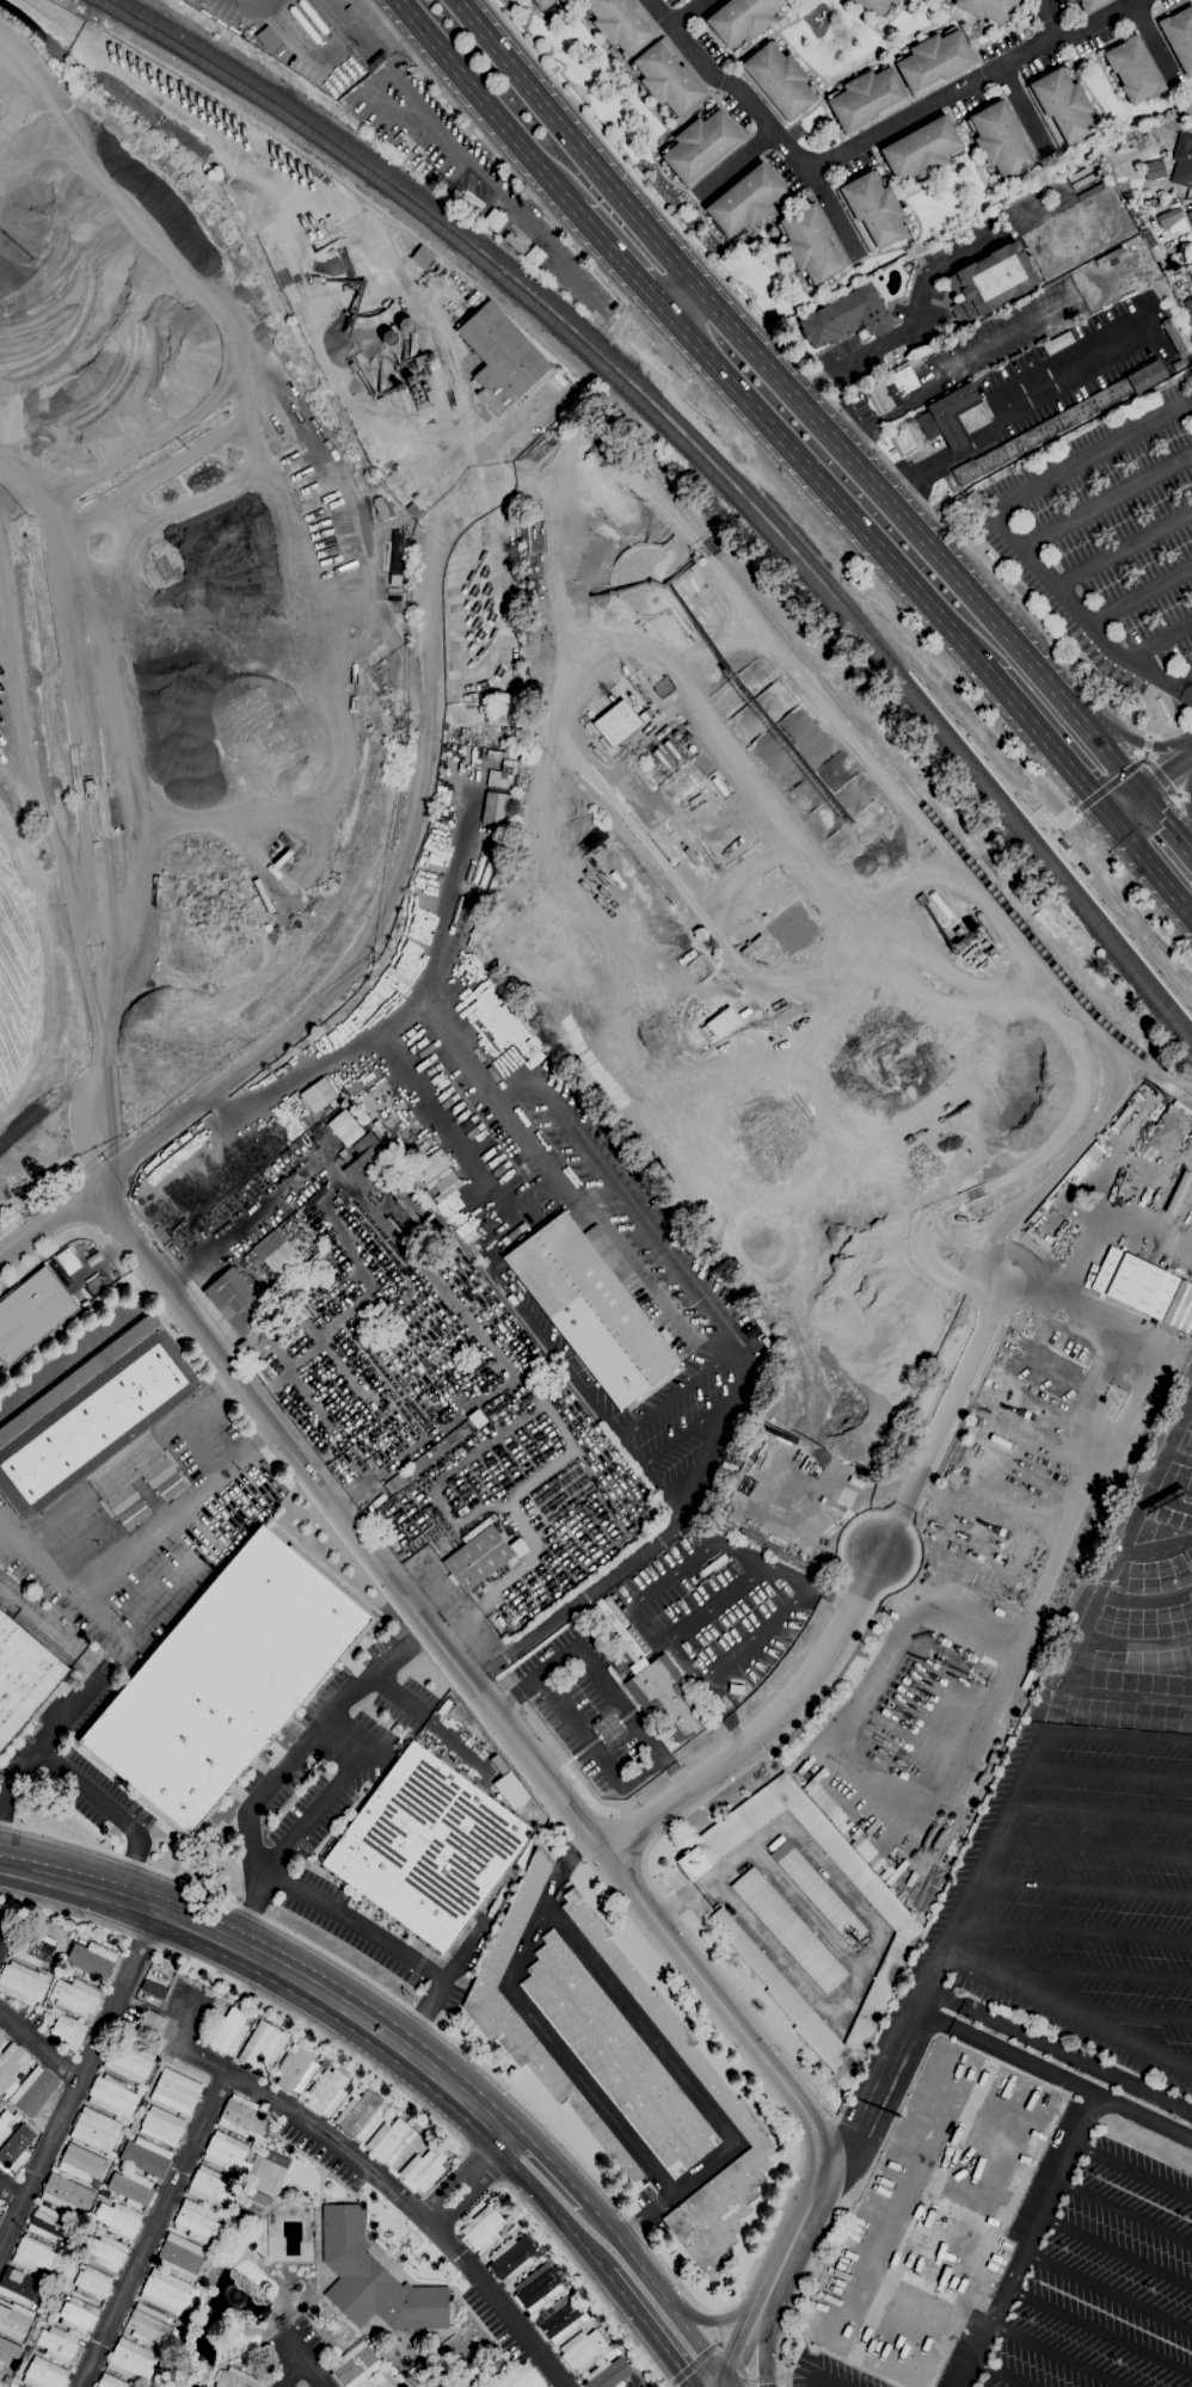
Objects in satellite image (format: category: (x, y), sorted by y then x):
building: (561, 0)
building: (895, 0)
building: (545, 4)
building: (1092, 5)
building: (875, 6)
building: (987, 10)
building: (352, 12)
road: (683, 12)
road: (1051, 17)
building: (743, 19)
building: (619, 24)
building: (1180, 36)
building: (269, 38)
road: (1156, 42)
road: (407, 49)
building: (934, 61)
building: (1135, 69)
building: (668, 80)
building: (779, 81)
building: (867, 99)
road: (489, 104)
building: (1062, 106)
road: (1027, 111)
road: (870, 137)
building: (184, 139)
building: (999, 140)
road: (454, 144)
building: (700, 144)
road: (425, 149)
building: (922, 149)
road: (494, 152)
building: (1126, 156)
road: (738, 164)
building: (1154, 170)
building: (1182, 173)
building: (1136, 191)
building: (745, 201)
road: (536, 202)
building: (465, 203)
road: (686, 207)
building: (872, 210)
road: (834, 211)
building: (1190, 216)
building: (1172, 220)
building: (1150, 239)
building: (516, 242)
building: (811, 242)
building: (533, 254)
building: (422, 256)
road: (552, 257)
road: (621, 259)
building: (1190, 266)
railway: (583, 271)
railway: (497, 276)
road: (926, 278)
building: (990, 281)
road: (680, 296)
building: (1188, 304)
building: (846, 318)
building: (1173, 337)
building: (1058, 343)
building: (420, 359)
building: (503, 359)
building: (1178, 364)
road: (948, 365)
building: (410, 375)
building: (559, 379)
building: (895, 387)
road: (827, 393)
road: (797, 398)
road: (1008, 408)
building: (948, 416)
building: (909, 418)
building: (1062, 420)
road: (1088, 454)
railway: (709, 456)
building: (644, 472)
road: (485, 479)
road: (827, 488)
road: (1106, 499)
building: (382, 507)
building: (413, 510)
road: (1124, 547)
parking lot: (1107, 550)
building: (695, 558)
railway: (743, 585)
road: (1142, 593)
road: (1086, 616)
road: (1160, 639)
road: (455, 650)
road: (788, 664)
railway: (907, 672)
road: (1186, 685)
building: (508, 696)
railway: (553, 700)
building: (646, 713)
building: (616, 726)
road: (711, 728)
road: (1047, 742)
road: (1142, 744)
road: (1145, 745)
road: (1165, 774)
road: (1165, 782)
road: (1108, 786)
building: (90, 788)
traffic signals: (1141, 793)
road: (1187, 798)
road: (1065, 804)
road: (1125, 804)
building: (493, 807)
road: (1038, 810)
traffic signals: (1111, 814)
road: (1166, 824)
railway: (1018, 831)
road: (1052, 835)
road: (1046, 838)
road: (1151, 863)
road: (444, 900)
building: (751, 945)
road: (346, 978)
building: (723, 1022)
building: (319, 1095)
building: (346, 1127)
road: (1088, 1131)
building: (425, 1159)
building: (367, 1162)
road: (1028, 1164)
building: (440, 1181)
building: (399, 1189)
building: (453, 1194)
building: (1176, 1194)
road: (322, 1207)
road: (956, 1231)
building: (159, 1234)
building: (508, 1237)
road: (1082, 1245)
building: (278, 1253)
building: (315, 1257)
road: (637, 1269)
building: (1135, 1282)
building: (236, 1300)
road: (1065, 1304)
building: (592, 1306)
building: (1180, 1308)
building: (301, 1312)
building: (31, 1314)
building: (763, 1340)
building: (253, 1347)
road: (583, 1389)
road: (672, 1395)
road: (942, 1417)
building: (100, 1427)
road: (689, 1429)
road: (210, 1438)
building: (429, 1457)
road: (898, 1518)
road: (842, 1540)
building: (516, 1546)
road: (119, 1555)
building: (478, 1558)
road: (659, 1583)
road: (10, 1595)
road: (838, 1597)
road: (719, 1602)
road: (49, 1628)
road: (966, 1630)
road: (757, 1634)
road: (600, 1677)
building: (23, 1678)
building: (225, 1679)
road: (80, 1692)
road: (394, 1693)
building: (665, 1697)
road: (767, 1725)
road: (736, 1731)
road: (1120, 1733)
road: (309, 1735)
road: (590, 1751)
road: (18, 1768)
road: (541, 1771)
road: (1111, 1771)
road: (892, 1774)
building: (510, 1790)
road: (327, 1792)
road: (109, 1807)
road: (1101, 1813)
road: (686, 1815)
building: (836, 1816)
building: (428, 1847)
building: (862, 1847)
road: (1093, 1851)
road: (61, 1865)
road: (1085, 1889)
road: (76, 1893)
building: (818, 1893)
road: (118, 1895)
road: (351, 1920)
building: (789, 1930)
road: (1075, 1930)
building: (907, 1936)
building: (33, 1946)
road: (942, 1952)
building: (92, 1958)
building: (57, 1962)
road: (1081, 1971)
building: (61, 1973)
building: (21, 1983)
road: (333, 1983)
building: (155, 1989)
road: (252, 1992)
building: (76, 1997)
building: (20, 2004)
building: (45, 2008)
road: (1068, 2010)
building: (252, 2013)
road: (1131, 2016)
building: (497, 2022)
road: (536, 2023)
building: (150, 2026)
building: (67, 2031)
building: (227, 2031)
building: (1, 2041)
road: (39, 2045)
building: (263, 2048)
road: (1059, 2049)
building: (616, 2057)
building: (128, 2060)
building: (324, 2060)
road: (1182, 2061)
building: (11, 2062)
building: (160, 2066)
road: (404, 2066)
road: (748, 2066)
building: (295, 2071)
building: (702, 2071)
road: (1053, 2074)
road: (81, 2075)
road: (689, 2083)
building: (349, 2087)
building: (33, 2091)
building: (177, 2091)
building: (327, 2091)
building: (112, 2097)
building: (143, 2104)
building: (361, 2115)
building: (244, 2120)
building: (4, 2123)
building: (162, 2125)
building: (413, 2125)
building: (96, 2129)
building: (391, 2141)
building: (254, 2146)
building: (16, 2149)
building: (111, 2153)
building: (227, 2153)
building: (146, 2157)
building: (277, 2158)
building: (450, 2160)
building: (82, 2163)
road: (553, 2165)
road: (483, 2166)
building: (423, 2170)
road: (1135, 2173)
road: (473, 2176)
road: (176, 2182)
building: (211, 2186)
building: (131, 2188)
road: (12, 2191)
building: (104, 2192)
building: (67, 2194)
building: (259, 2196)
road: (413, 2210)
building: (503, 2213)
road: (1125, 2215)
building: (118, 2220)
building: (198, 2221)
building: (47, 2223)
building: (484, 2228)
road: (1031, 2241)
building: (69, 2246)
road: (1117, 2251)
building: (105, 2252)
building: (36, 2256)
building: (182, 2256)
building: (511, 2258)
parking lot: (1086, 2274)
building: (374, 2277)
road: (585, 2280)
building: (92, 2283)
building: (21, 2287)
building: (567, 2287)
building: (537, 2288)
road: (658, 2289)
road: (1110, 2290)
building: (166, 2291)
road: (799, 2294)
building: (78, 2314)
road: (720, 2318)
building: (14, 2319)
building: (560, 2319)
building: (174, 2321)
building: (39, 2323)
building: (150, 2326)
building: (31, 2331)
road: (651, 2331)
road: (1100, 2332)
road: (762, 2334)
building: (27, 2340)
building: (57, 2343)
building: (585, 2350)
building: (5, 2351)
road: (1059, 2355)
building: (133, 2361)
building: (355, 2366)
road: (291, 2369)
road: (312, 2369)
building: (12, 2370)
parking lot: (827, 2373)
building: (44, 2374)
building: (608, 2374)
road: (999, 2375)
building: (523, 2377)
traffic signals: (725, 2377)
building: (238, 2379)
road: (828, 2380)
building: (111, 2381)
road: (727, 2382)
building: (0, 2383)
building: (380, 2383)
building: (13, 2385)
building: (19, 2386)

